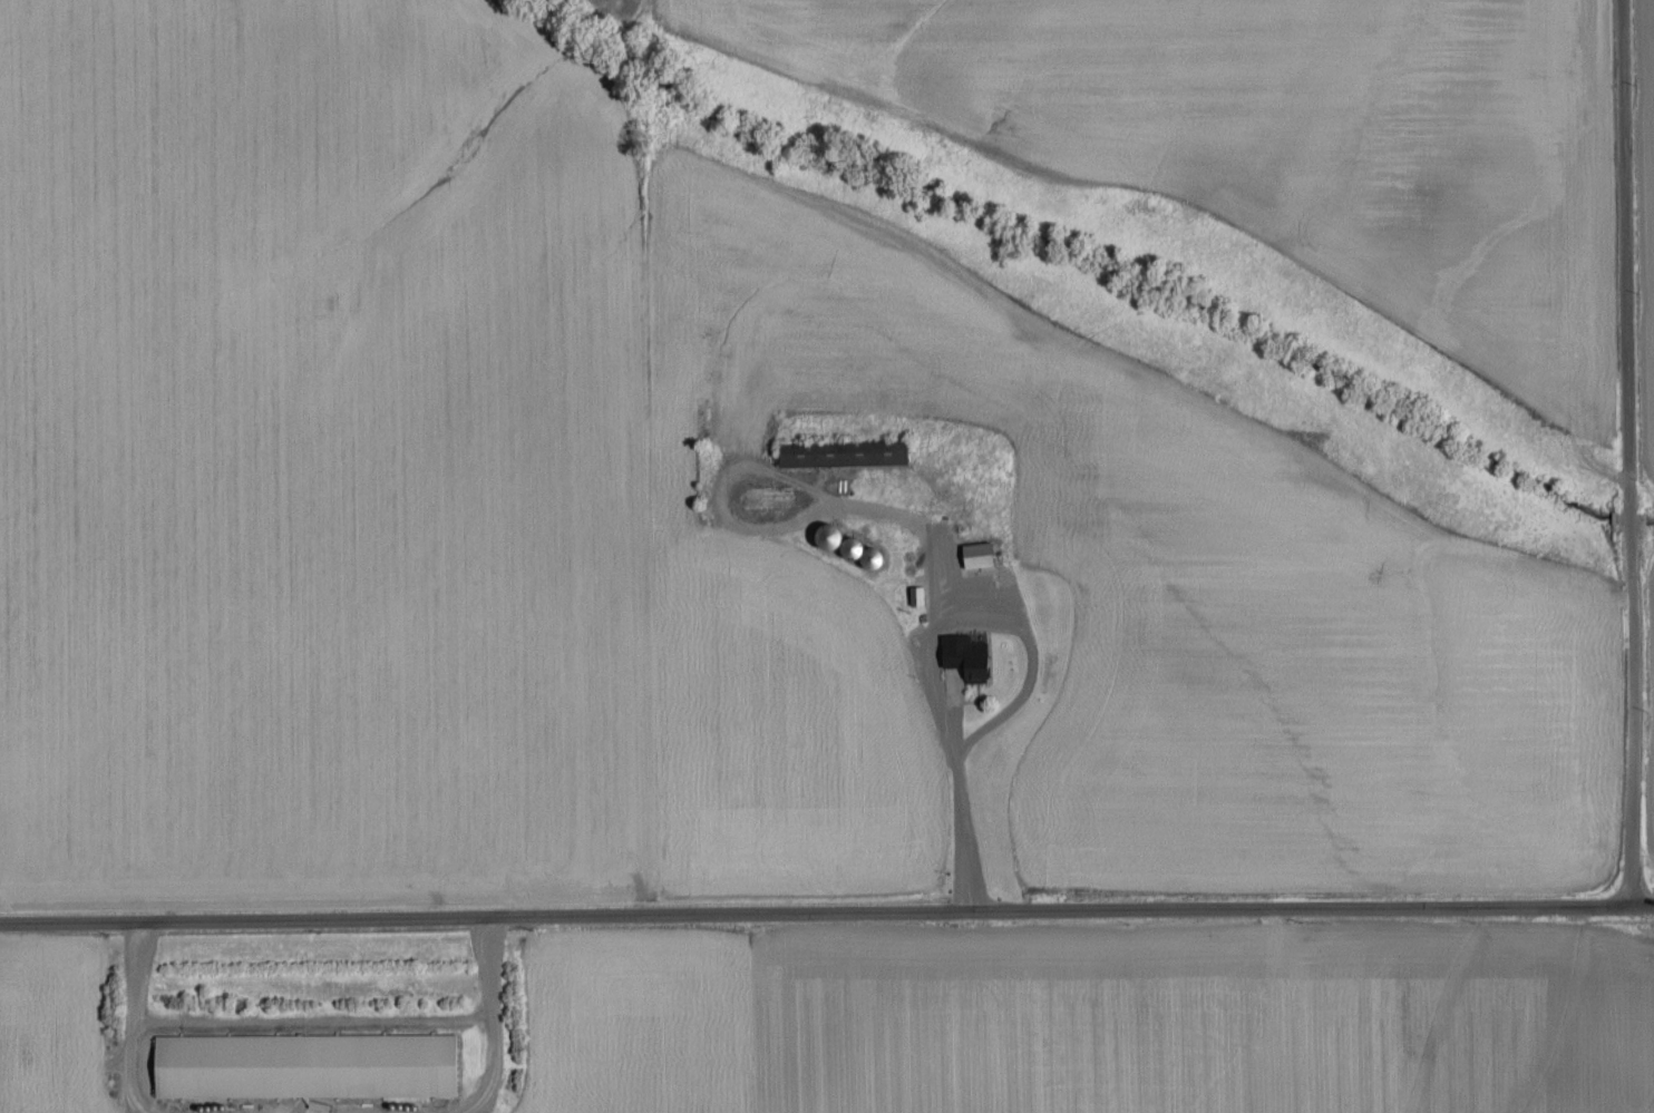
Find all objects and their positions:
road: (1627, 453)
building: (986, 553)
road: (951, 655)
road: (962, 837)
road: (826, 919)
building: (313, 1064)

